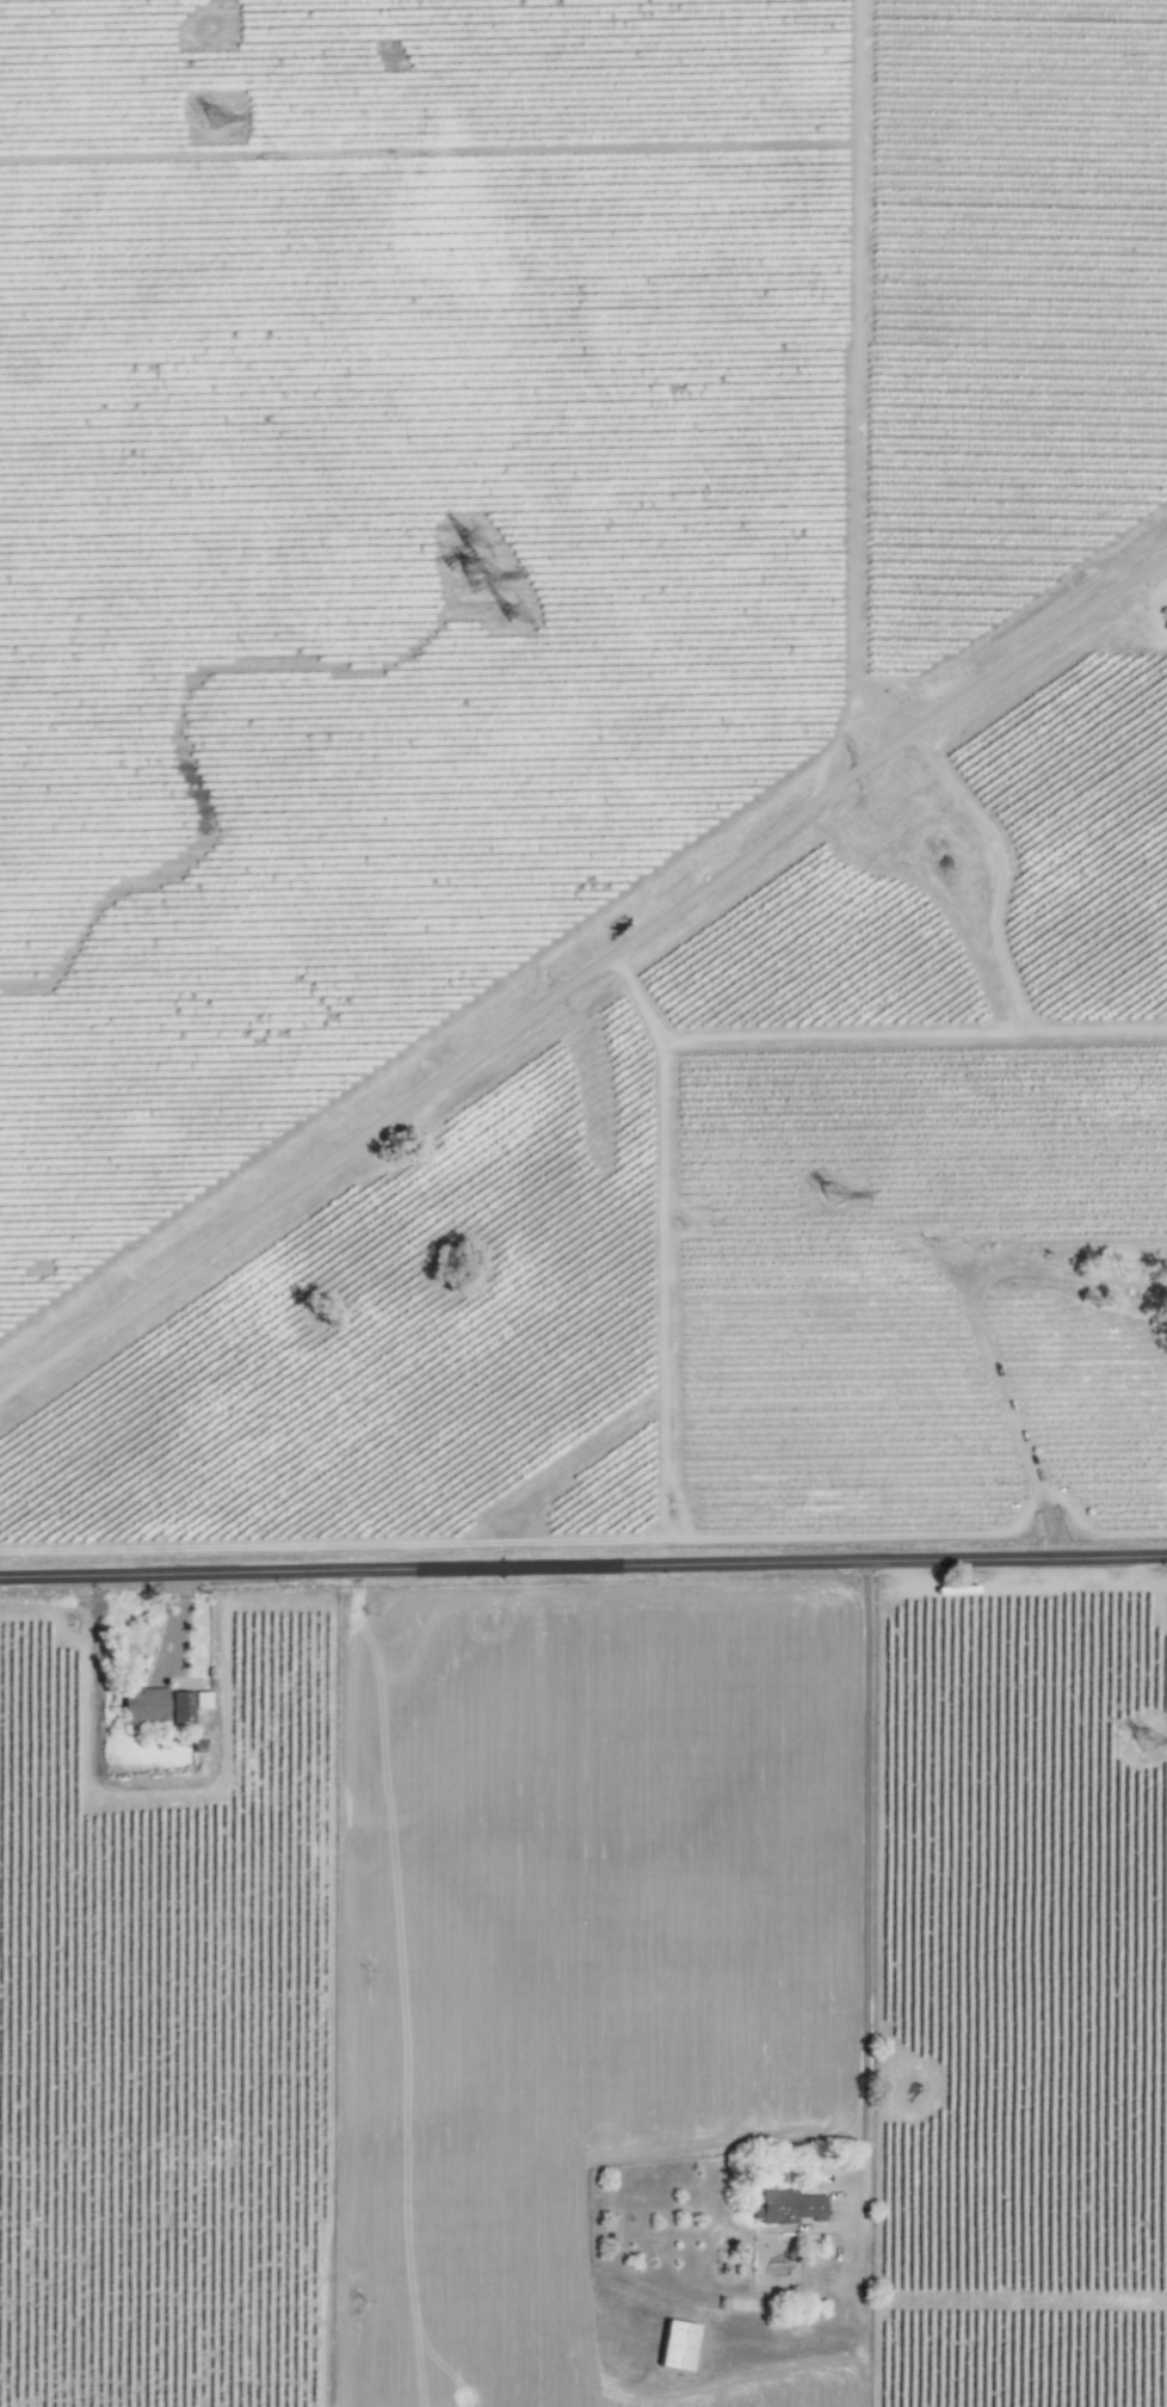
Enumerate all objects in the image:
power tower: (229, 116)
power tower: (483, 540)
power tower: (492, 579)
power tower: (519, 620)
road: (582, 980)
power tower: (841, 1201)
road: (984, 1328)
road: (583, 1563)
power tower: (1148, 1735)
road: (865, 1845)
building: (790, 2205)
building: (678, 2345)

